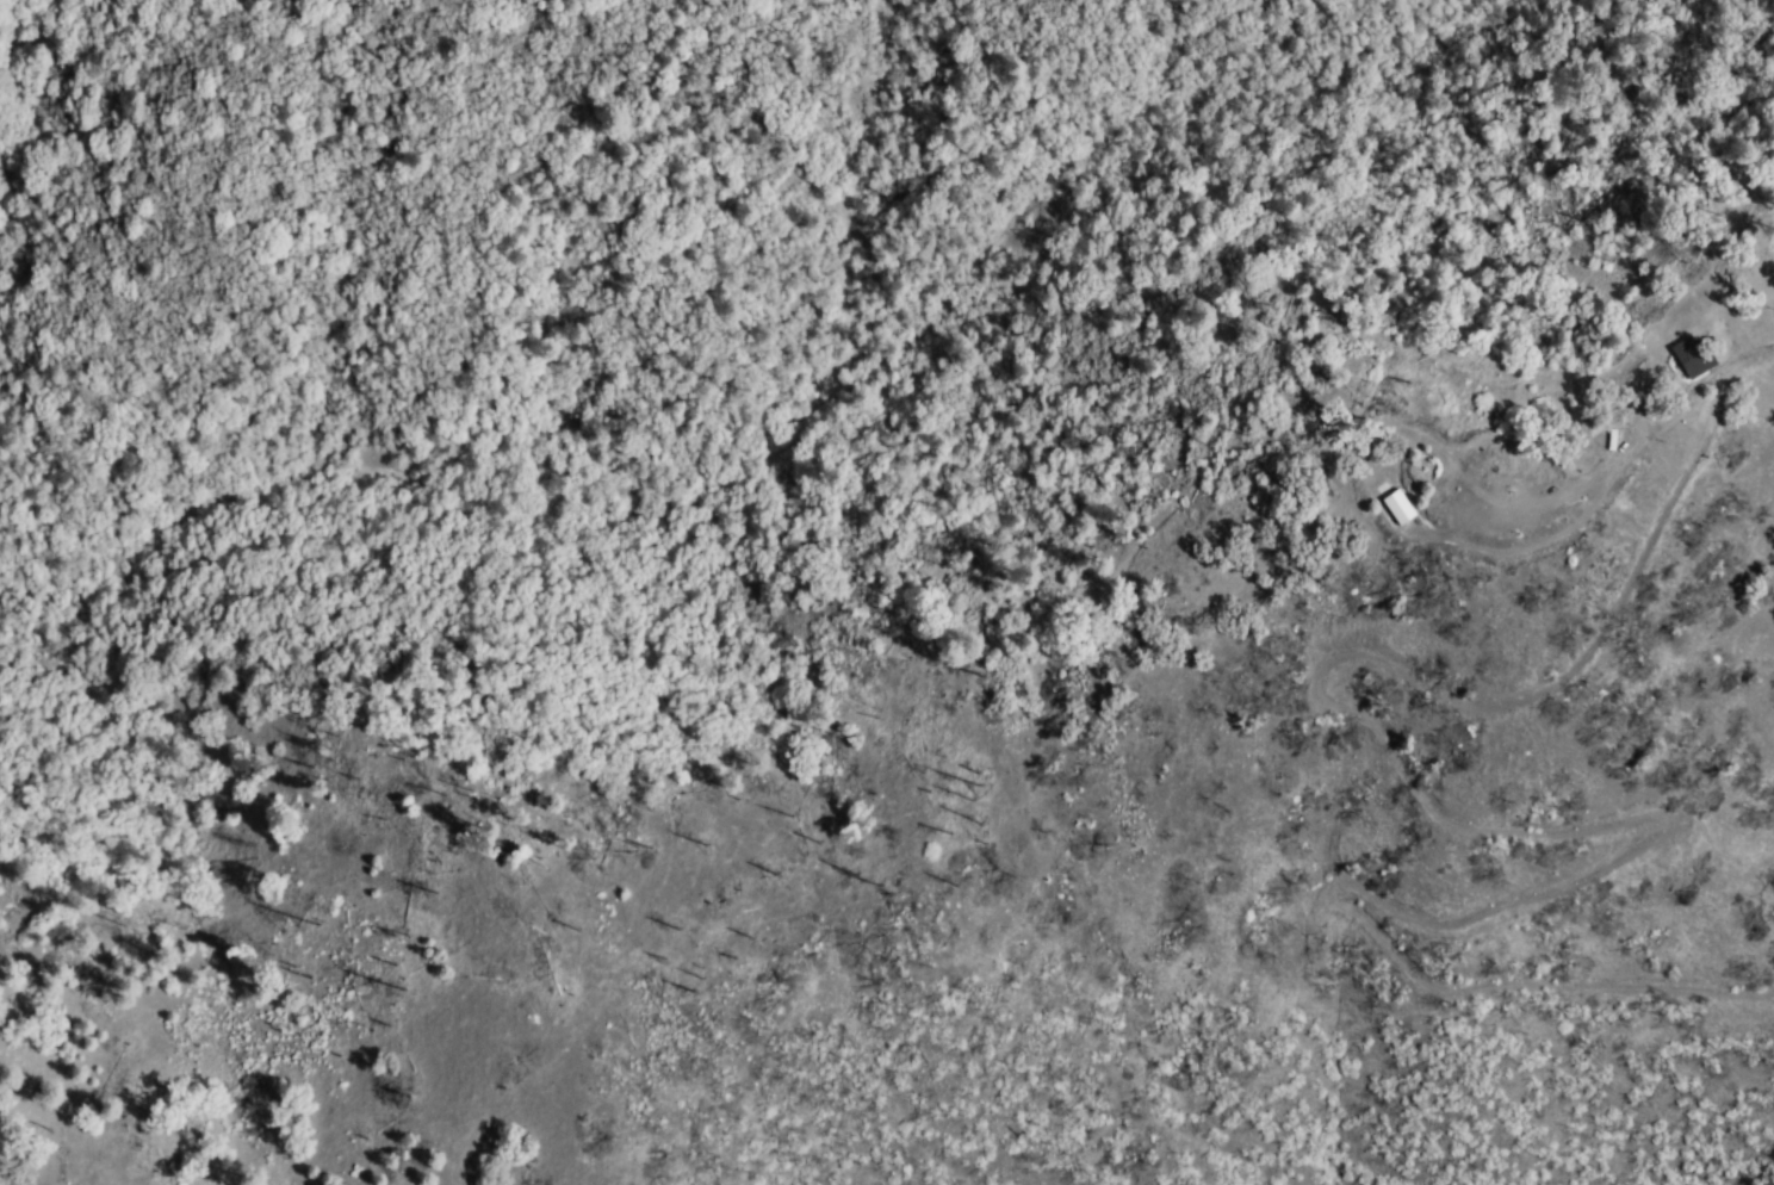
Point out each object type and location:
building: (1679, 360)
road: (1714, 368)
building: (1385, 510)

